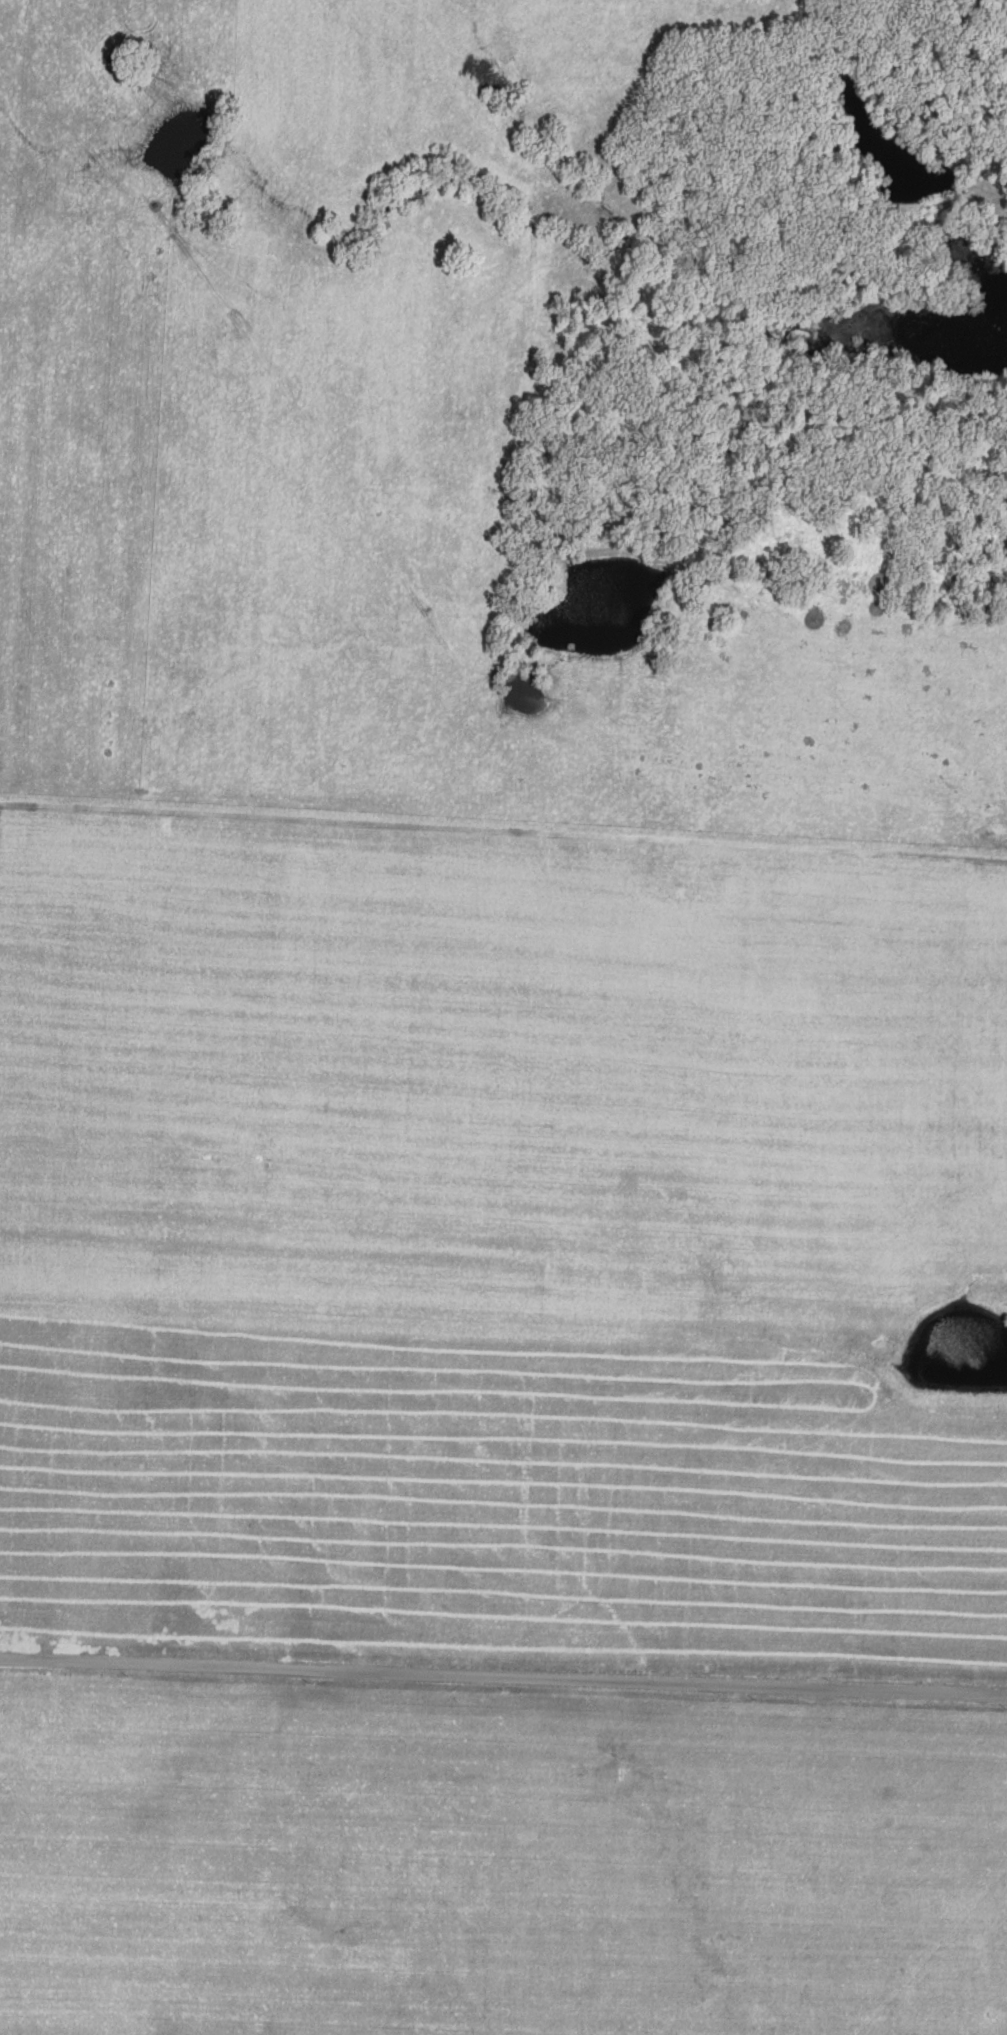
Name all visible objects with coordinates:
road: (503, 1679)

